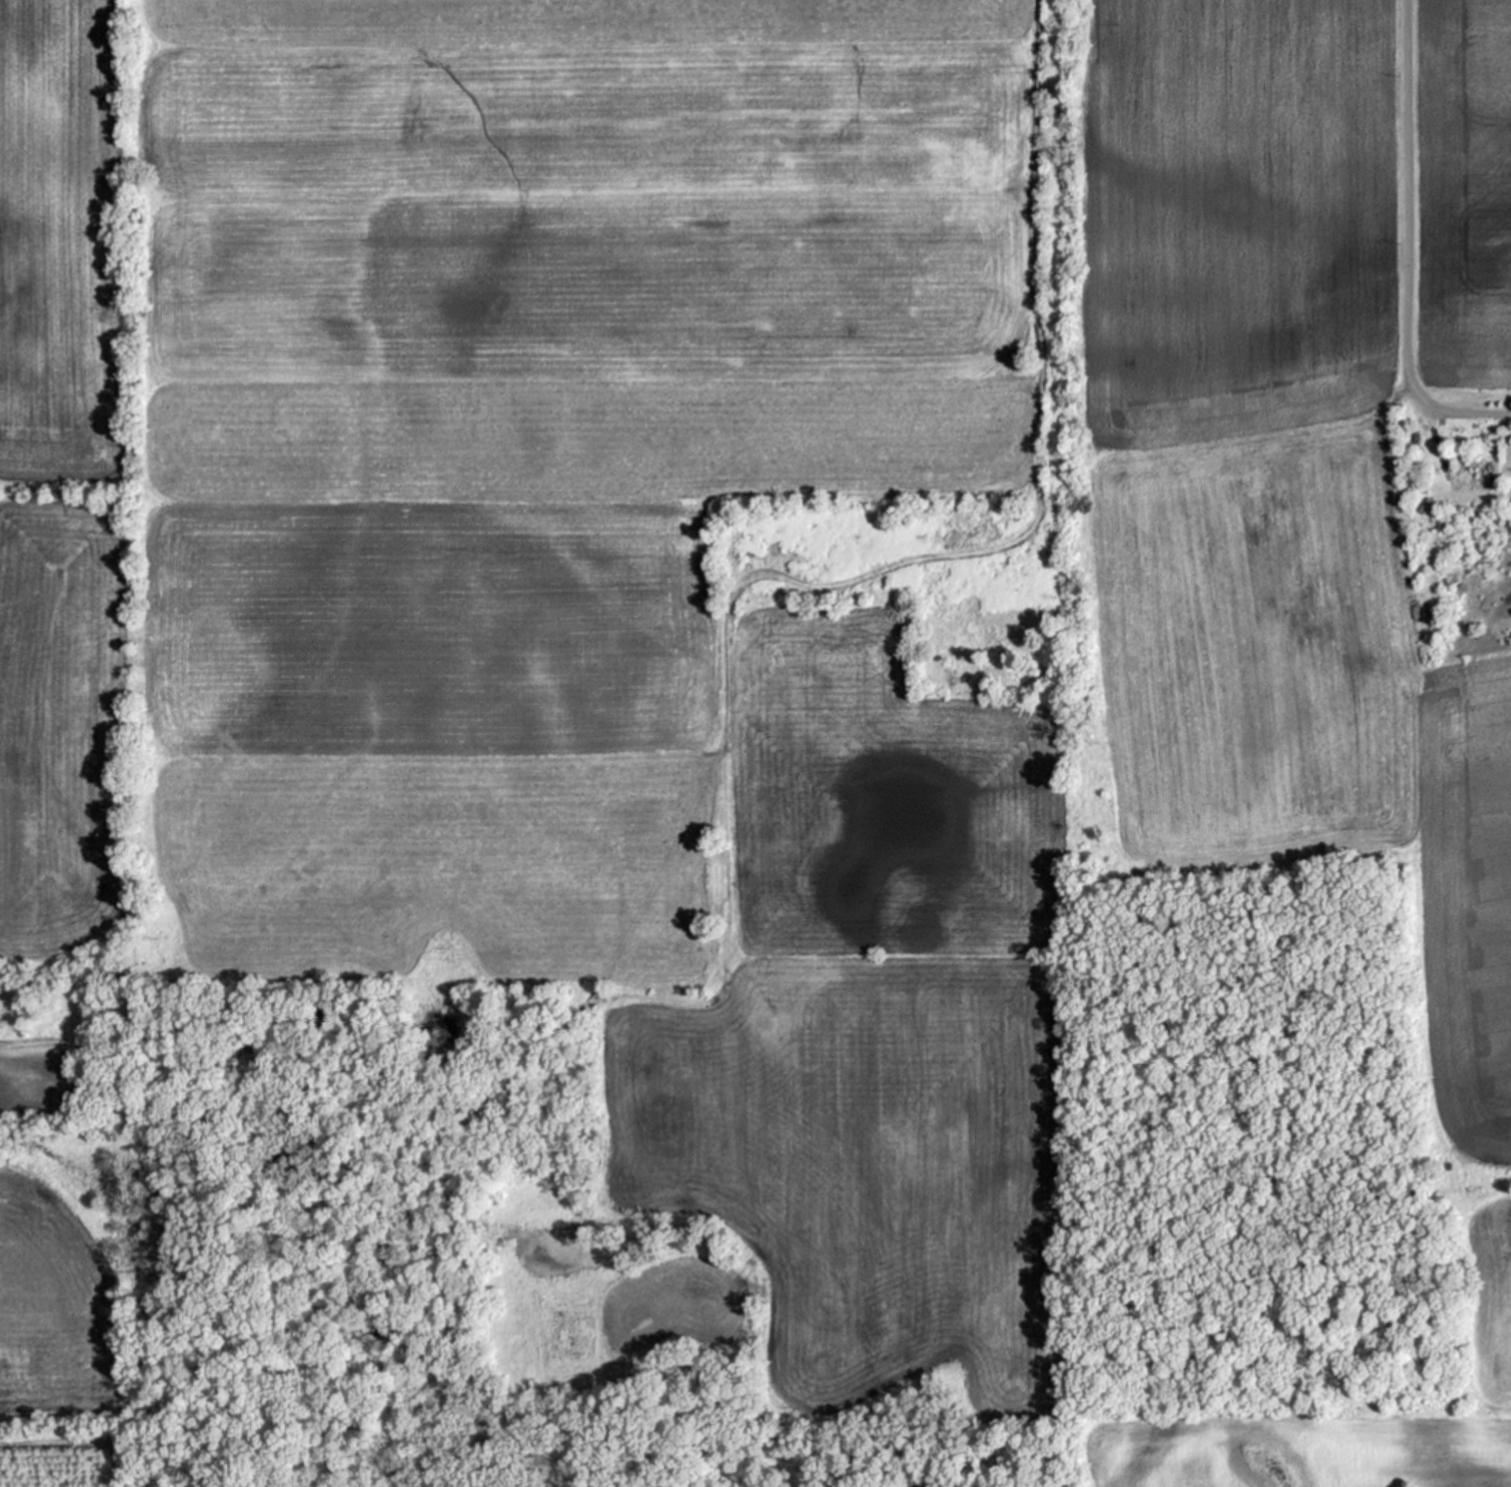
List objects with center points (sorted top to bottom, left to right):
road: (1403, 248)
building: (1464, 509)
building: (1023, 540)
building: (120, 1062)
building: (1249, 1159)
building: (1446, 1164)
building: (1484, 1404)

